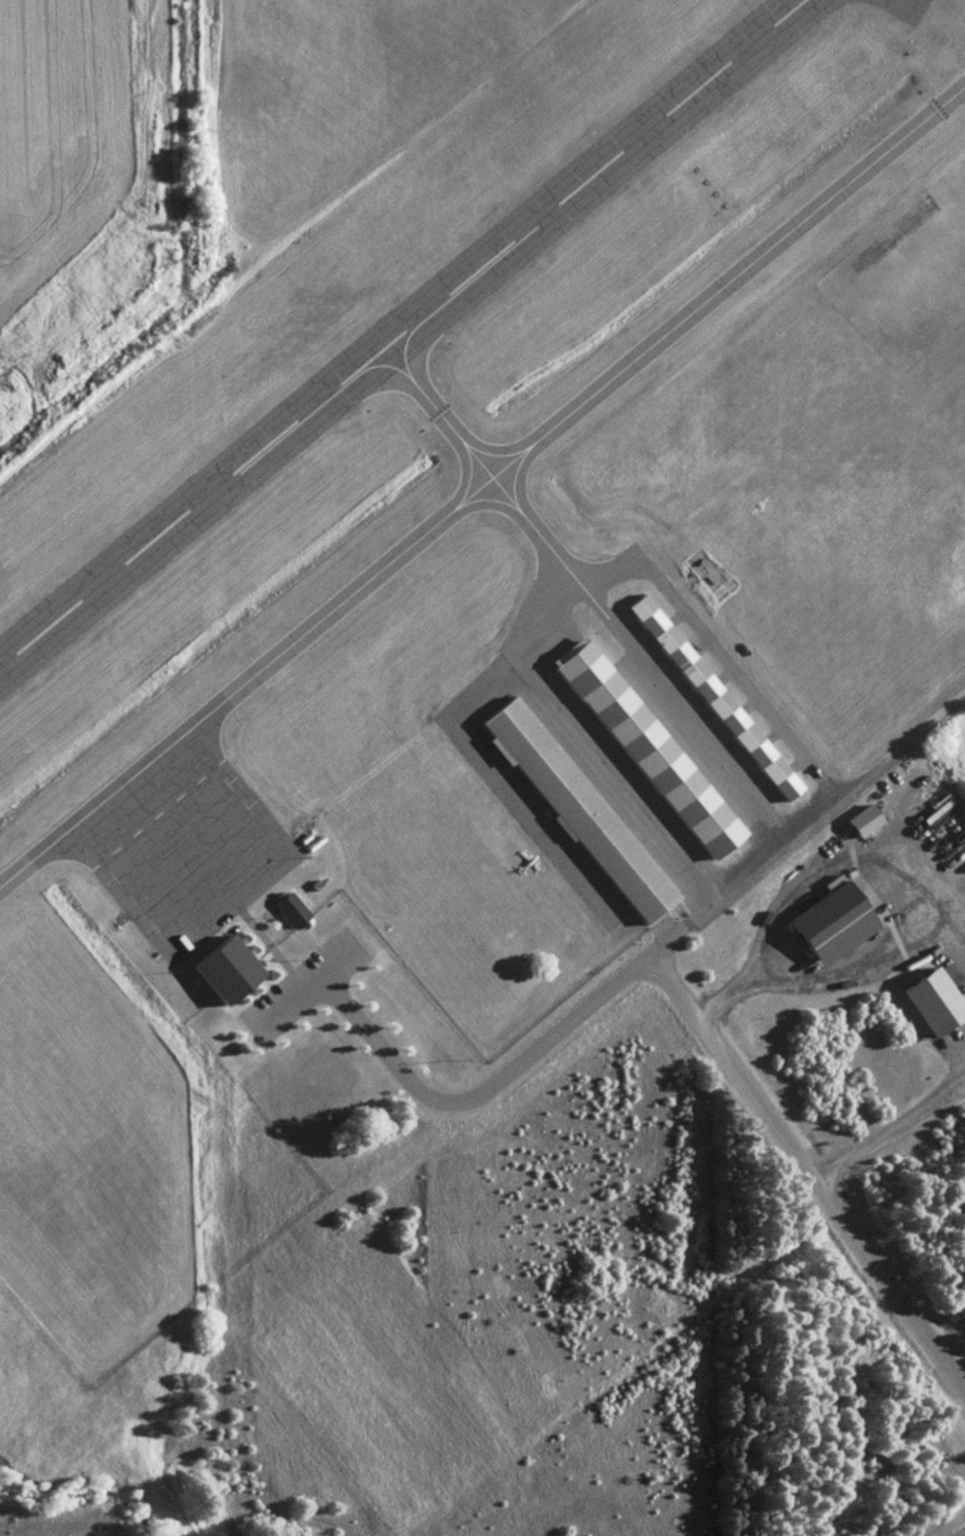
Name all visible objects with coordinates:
airport runway: (397, 329)
airport taxiway: (484, 467)
airport taxiway: (482, 480)
building: (710, 696)
building: (643, 746)
building: (573, 808)
building: (287, 908)
building: (827, 922)
building: (218, 966)
road: (682, 1000)

